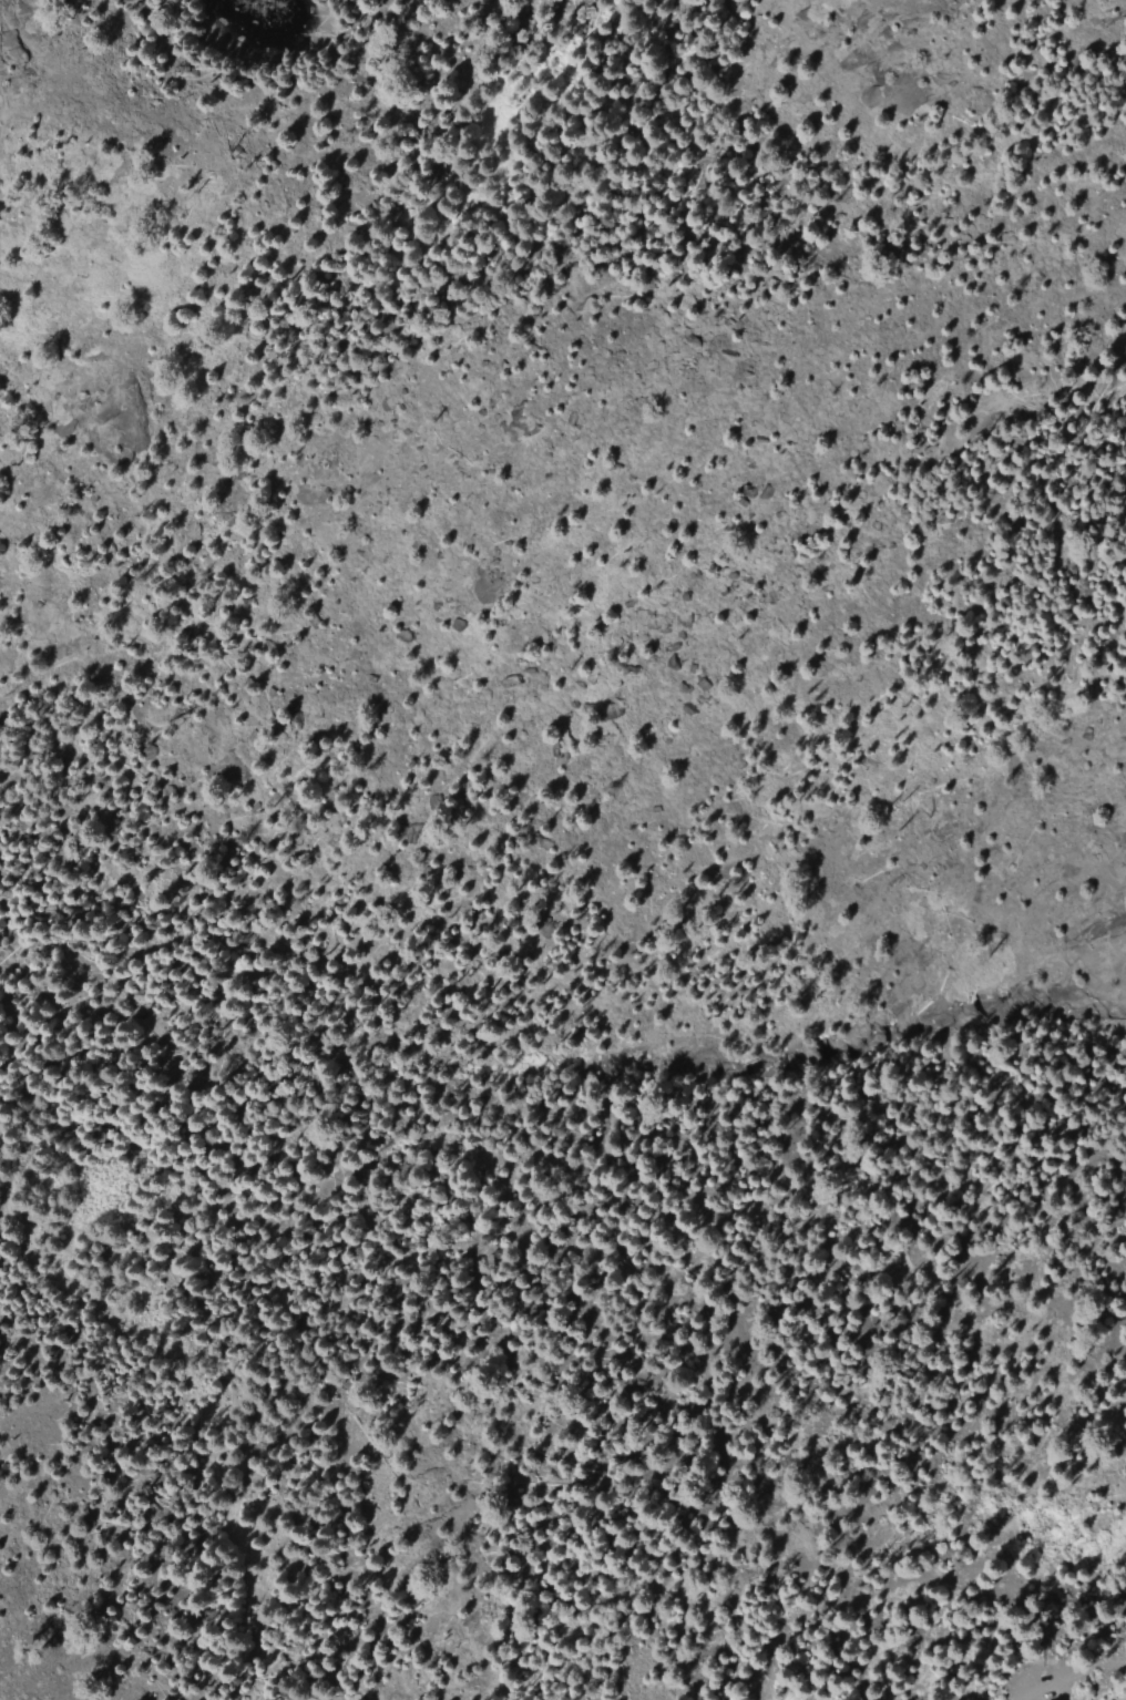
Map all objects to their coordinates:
road: (1072, 1673)

